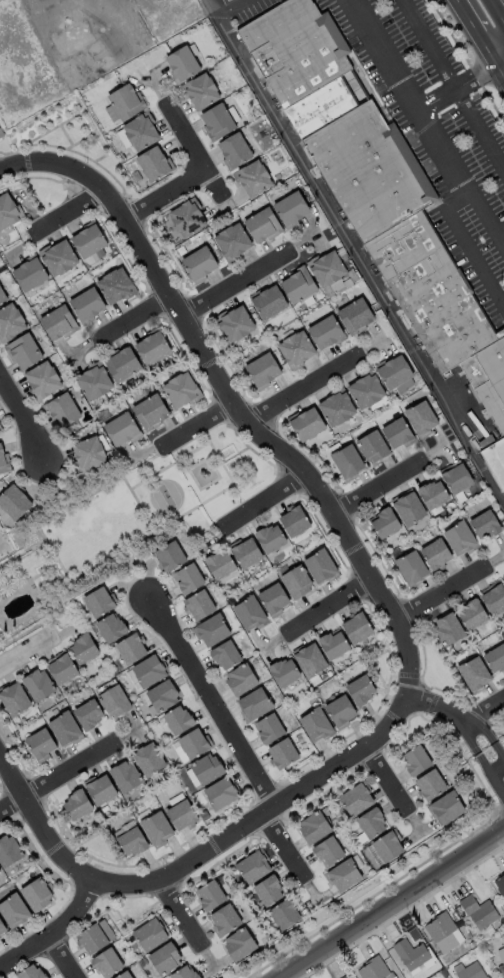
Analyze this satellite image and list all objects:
road: (224, 5)
road: (500, 5)
road: (100, 7)
parking lot: (249, 7)
road: (188, 13)
road: (474, 30)
building: (72, 38)
road: (498, 57)
building: (183, 65)
road: (498, 70)
road: (455, 84)
road: (457, 89)
building: (202, 92)
building: (125, 103)
parking lot: (435, 117)
building: (219, 123)
road: (425, 124)
road: (49, 130)
building: (0, 134)
building: (143, 134)
road: (65, 135)
road: (78, 141)
road: (193, 148)
building: (237, 151)
road: (99, 159)
building: (154, 166)
road: (11, 178)
building: (256, 179)
road: (165, 192)
building: (378, 194)
building: (294, 209)
building: (7, 214)
road: (70, 214)
building: (189, 221)
building: (264, 227)
road: (502, 239)
building: (90, 242)
building: (234, 243)
road: (469, 244)
road: (355, 253)
road: (163, 255)
building: (61, 260)
building: (200, 266)
building: (330, 271)
building: (33, 276)
road: (236, 284)
building: (117, 288)
building: (300, 288)
parking lot: (491, 289)
building: (2, 297)
building: (88, 304)
building: (271, 304)
road: (134, 316)
building: (357, 317)
building: (11, 324)
building: (59, 325)
building: (237, 326)
building: (329, 333)
building: (152, 350)
building: (299, 350)
building: (26, 354)
building: (125, 365)
building: (265, 371)
building: (395, 373)
building: (44, 382)
building: (98, 385)
road: (303, 388)
building: (182, 392)
building: (368, 392)
building: (339, 410)
road: (24, 412)
building: (65, 412)
building: (152, 413)
building: (424, 419)
road: (229, 422)
road: (200, 427)
building: (309, 428)
building: (122, 430)
building: (0, 431)
building: (400, 436)
building: (374, 449)
building: (91, 455)
building: (3, 462)
building: (349, 464)
road: (191, 475)
road: (155, 478)
building: (460, 479)
road: (380, 486)
road: (59, 490)
park: (166, 495)
building: (437, 495)
road: (63, 500)
road: (264, 501)
building: (16, 506)
building: (412, 509)
road: (142, 510)
road: (177, 514)
building: (296, 522)
building: (386, 523)
building: (487, 525)
building: (274, 539)
building: (461, 539)
road: (22, 552)
building: (249, 553)
building: (438, 553)
building: (172, 556)
road: (125, 560)
road: (58, 561)
building: (224, 565)
building: (287, 566)
building: (322, 567)
building: (414, 568)
road: (130, 570)
building: (503, 578)
building: (190, 579)
building: (299, 583)
road: (443, 593)
building: (276, 599)
building: (496, 600)
building: (100, 602)
building: (200, 606)
road: (331, 607)
road: (393, 612)
building: (251, 613)
building: (475, 616)
road: (50, 618)
building: (113, 627)
building: (358, 629)
building: (214, 631)
building: (449, 631)
building: (335, 644)
road: (25, 648)
building: (133, 649)
building: (86, 650)
building: (228, 657)
building: (496, 659)
building: (313, 660)
road: (373, 665)
building: (63, 668)
building: (150, 670)
building: (287, 673)
building: (476, 674)
building: (243, 680)
building: (39, 685)
building: (364, 689)
road: (429, 690)
building: (165, 697)
building: (16, 700)
road: (211, 701)
building: (116, 702)
building: (256, 704)
road: (441, 707)
building: (342, 711)
road: (487, 712)
building: (90, 714)
building: (180, 721)
building: (317, 726)
building: (65, 729)
building: (270, 729)
road: (448, 731)
road: (496, 731)
road: (484, 732)
road: (470, 739)
building: (42, 744)
building: (195, 744)
building: (284, 754)
road: (499, 754)
building: (151, 761)
building: (418, 761)
building: (209, 769)
road: (496, 770)
road: (57, 775)
building: (128, 776)
road: (490, 776)
road: (391, 778)
building: (432, 785)
road: (36, 786)
building: (102, 790)
building: (223, 795)
building: (358, 801)
building: (79, 807)
building: (448, 809)
building: (185, 815)
building: (373, 824)
building: (315, 828)
building: (159, 829)
road: (102, 836)
building: (134, 843)
road: (241, 846)
road: (282, 846)
building: (386, 850)
building: (10, 851)
building: (330, 852)
building: (255, 868)
building: (1, 872)
building: (345, 876)
building: (500, 884)
building: (271, 892)
road: (376, 892)
building: (38, 896)
building: (212, 896)
road: (394, 904)
road: (182, 911)
building: (15, 912)
building: (481, 912)
building: (287, 915)
building: (225, 921)
building: (3, 928)
building: (440, 928)
road: (56, 933)
building: (153, 936)
building: (93, 939)
building: (241, 945)
building: (501, 953)
building: (413, 956)
road: (63, 958)
building: (167, 959)
building: (109, 964)
building: (378, 970)
building: (472, 970)
building: (33, 972)
building: (187, 974)
building: (127, 976)
building: (348, 977)

